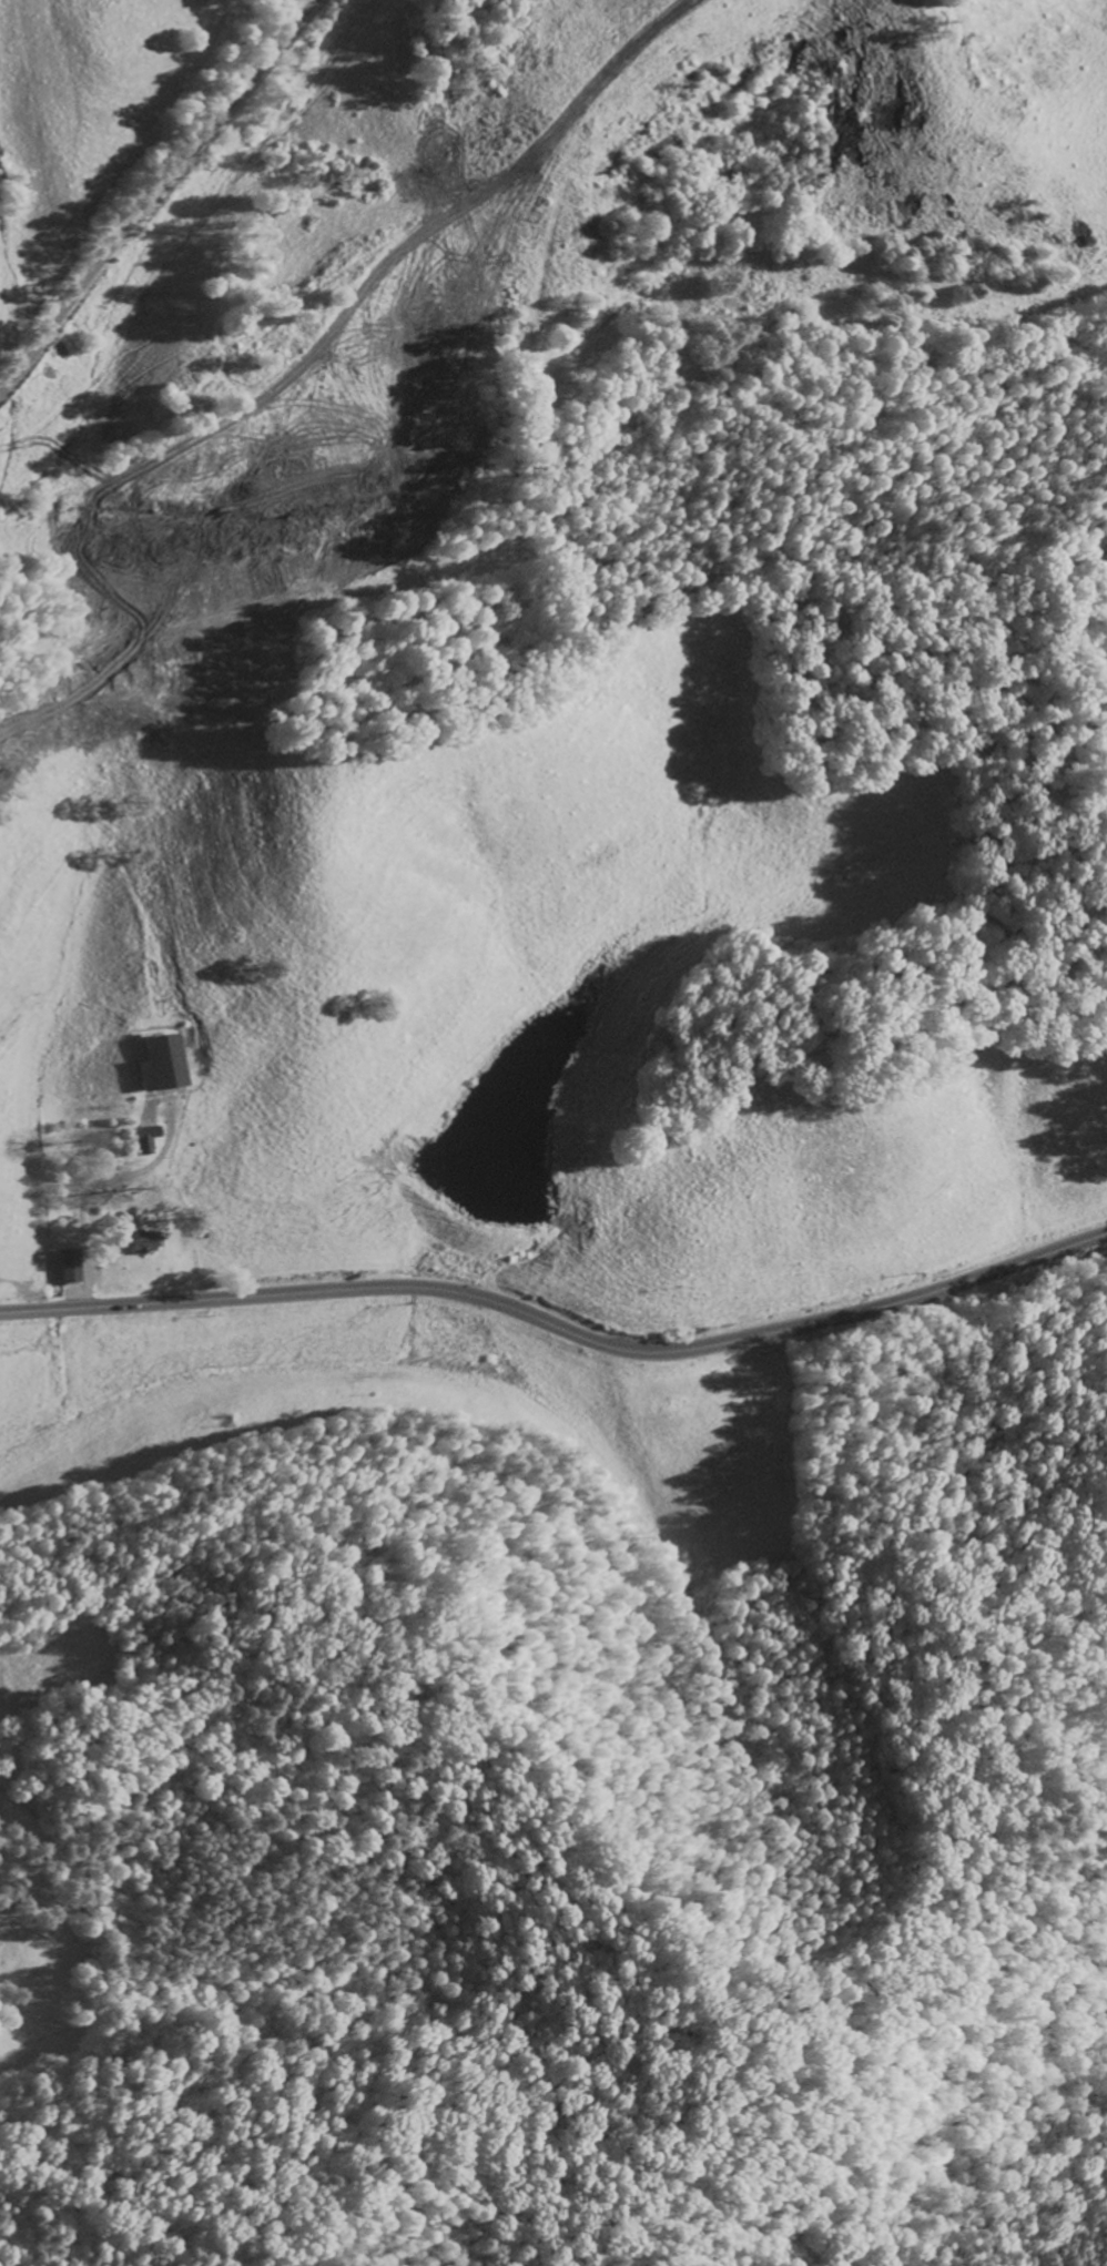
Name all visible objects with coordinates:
road: (155, 191)
road: (358, 430)
building: (163, 1063)
building: (145, 1137)
building: (143, 1240)
building: (70, 1264)
road: (559, 1328)

